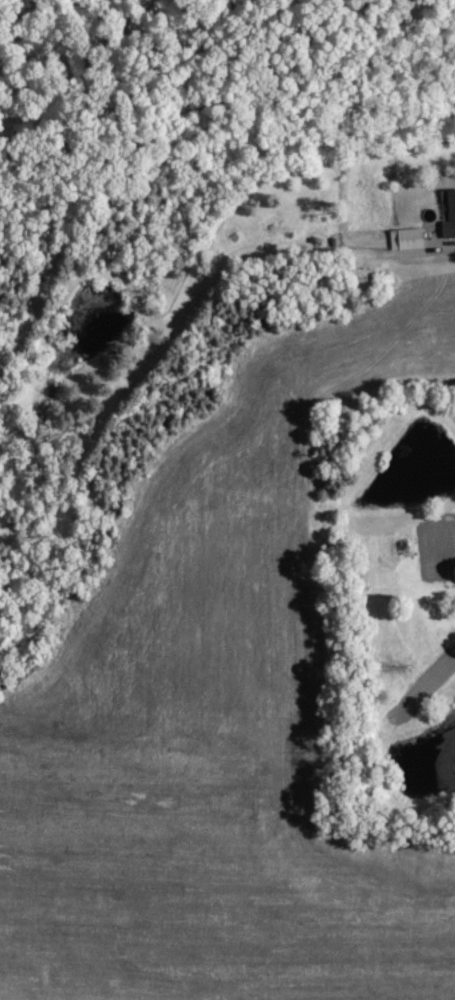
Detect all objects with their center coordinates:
building: (450, 214)
building: (408, 239)
road: (415, 254)

